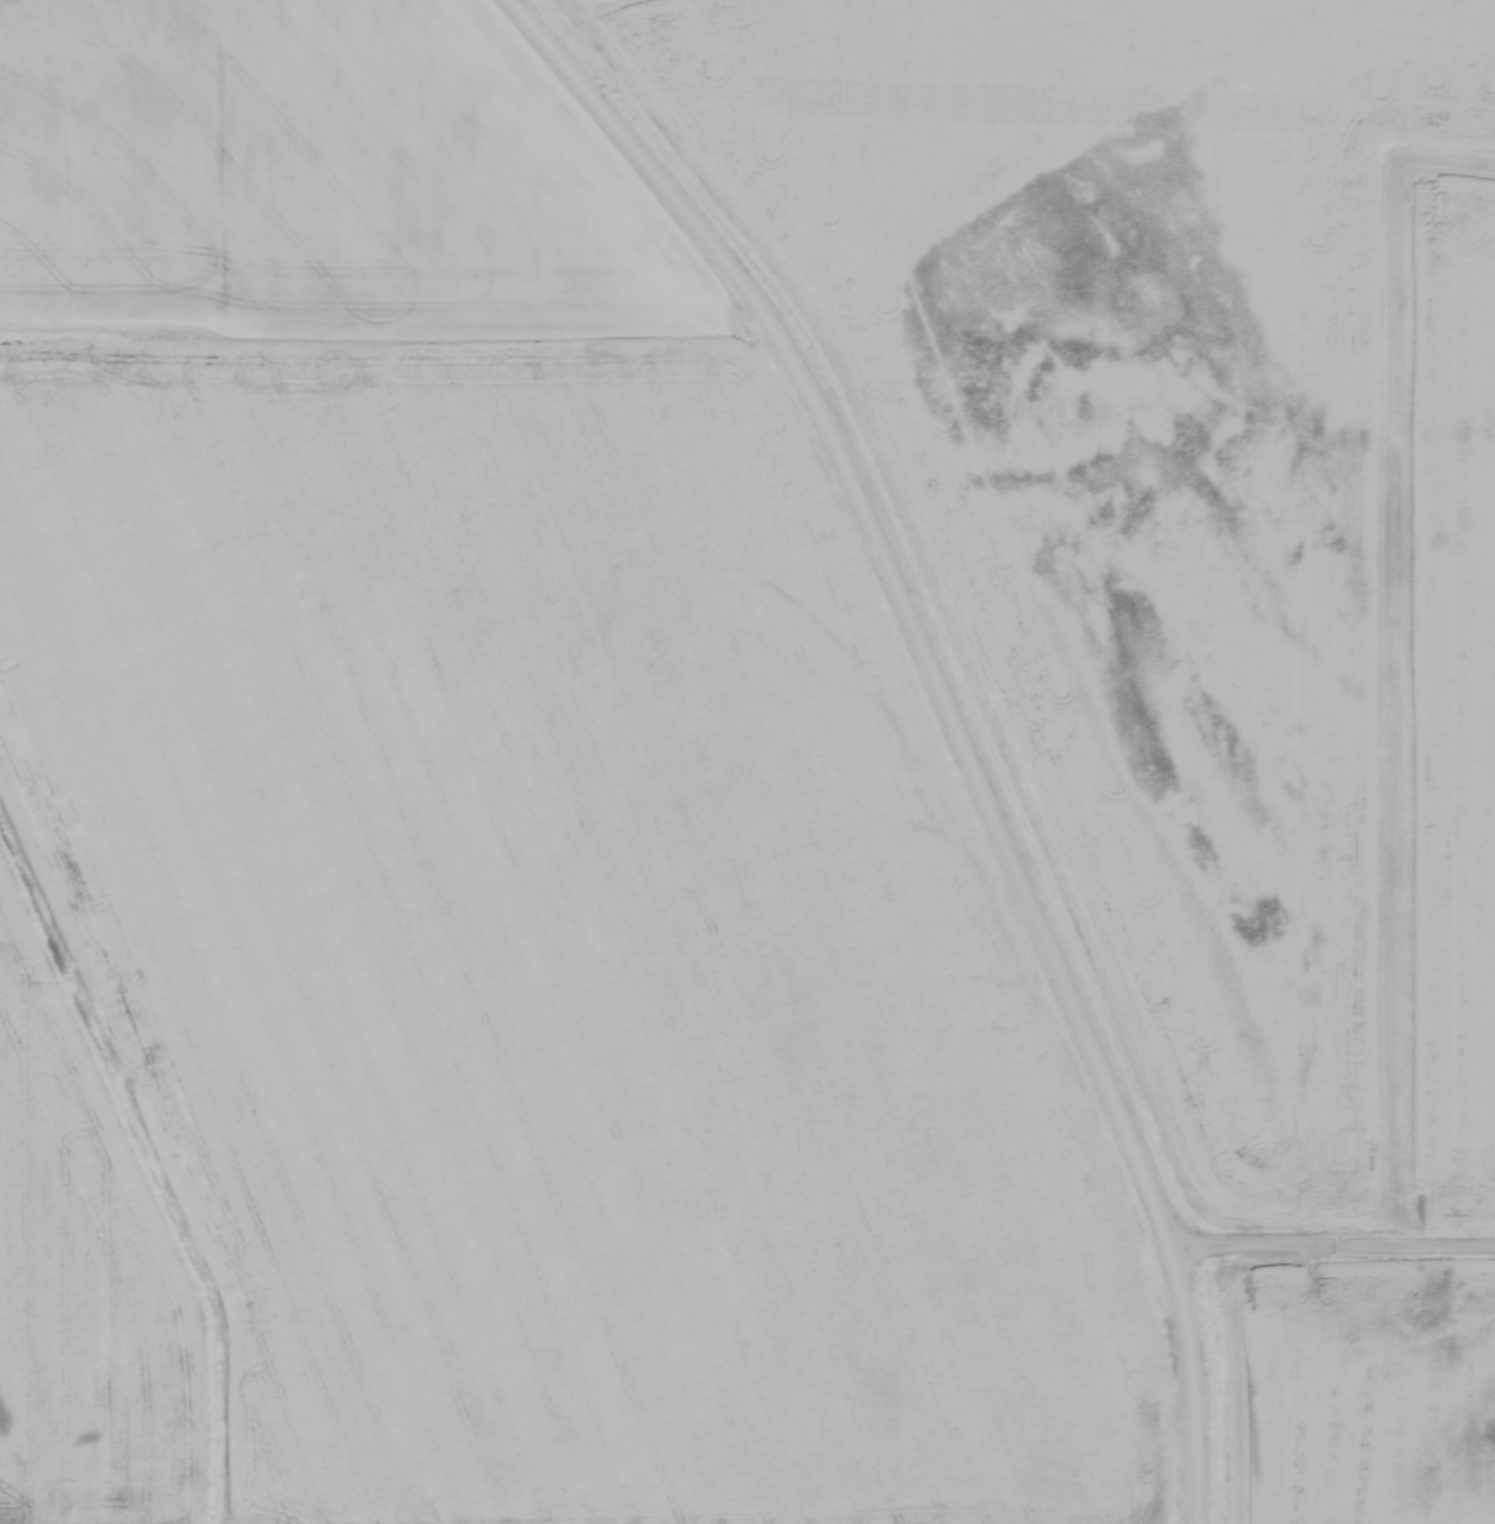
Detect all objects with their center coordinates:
road: (952, 718)
road: (1333, 1246)

